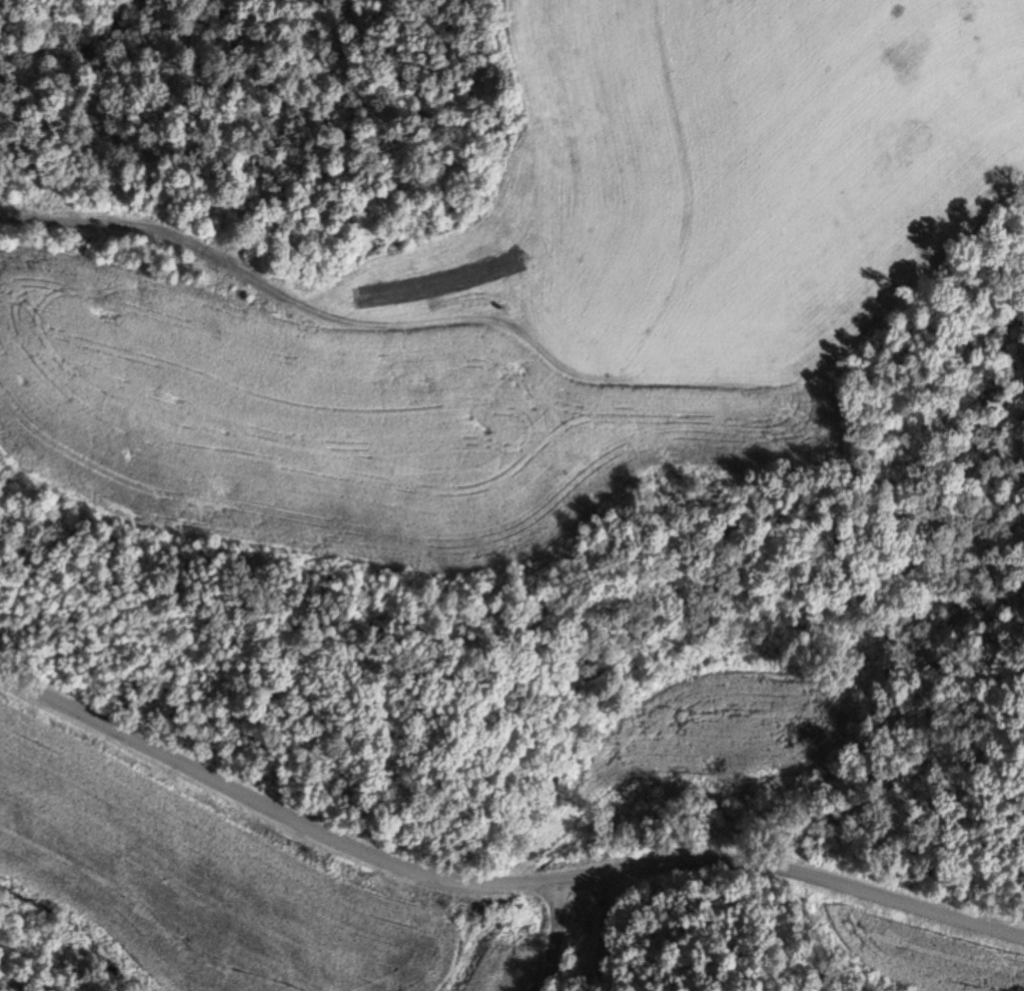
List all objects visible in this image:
road: (492, 871)
road: (419, 939)

